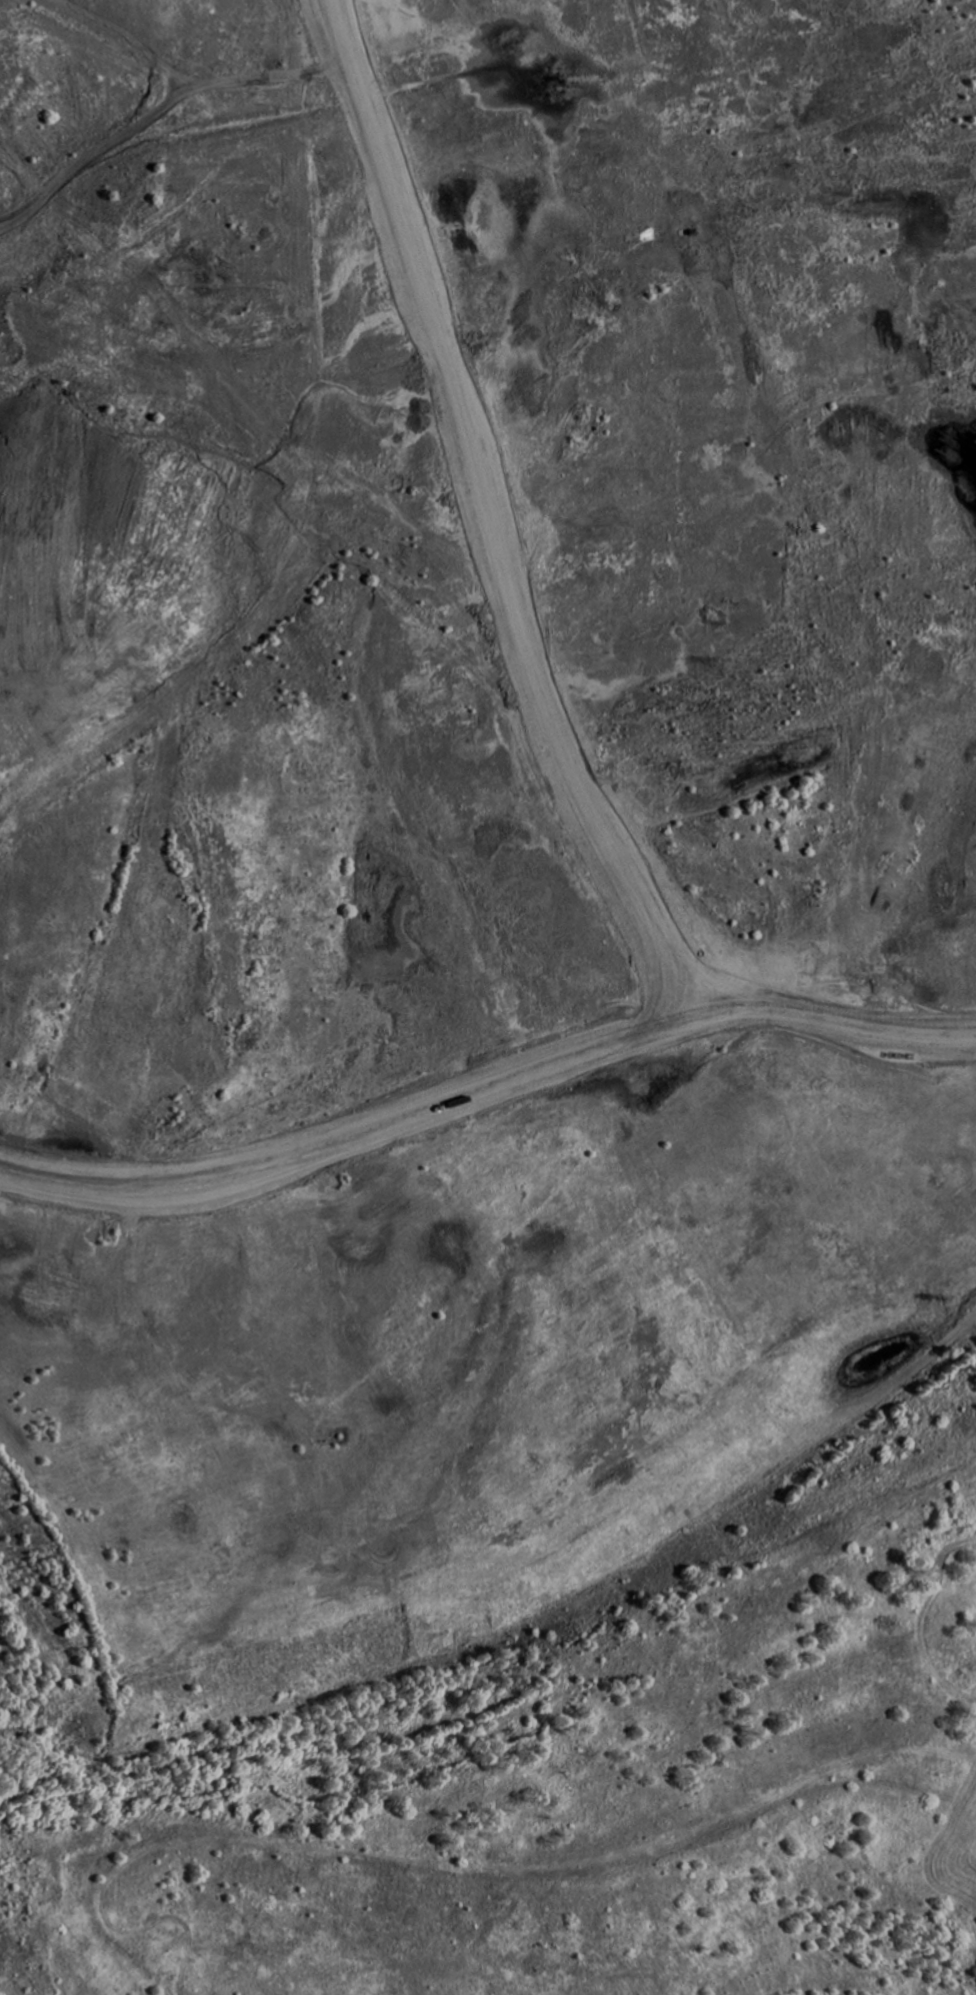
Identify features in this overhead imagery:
quarry: (488, 997)

